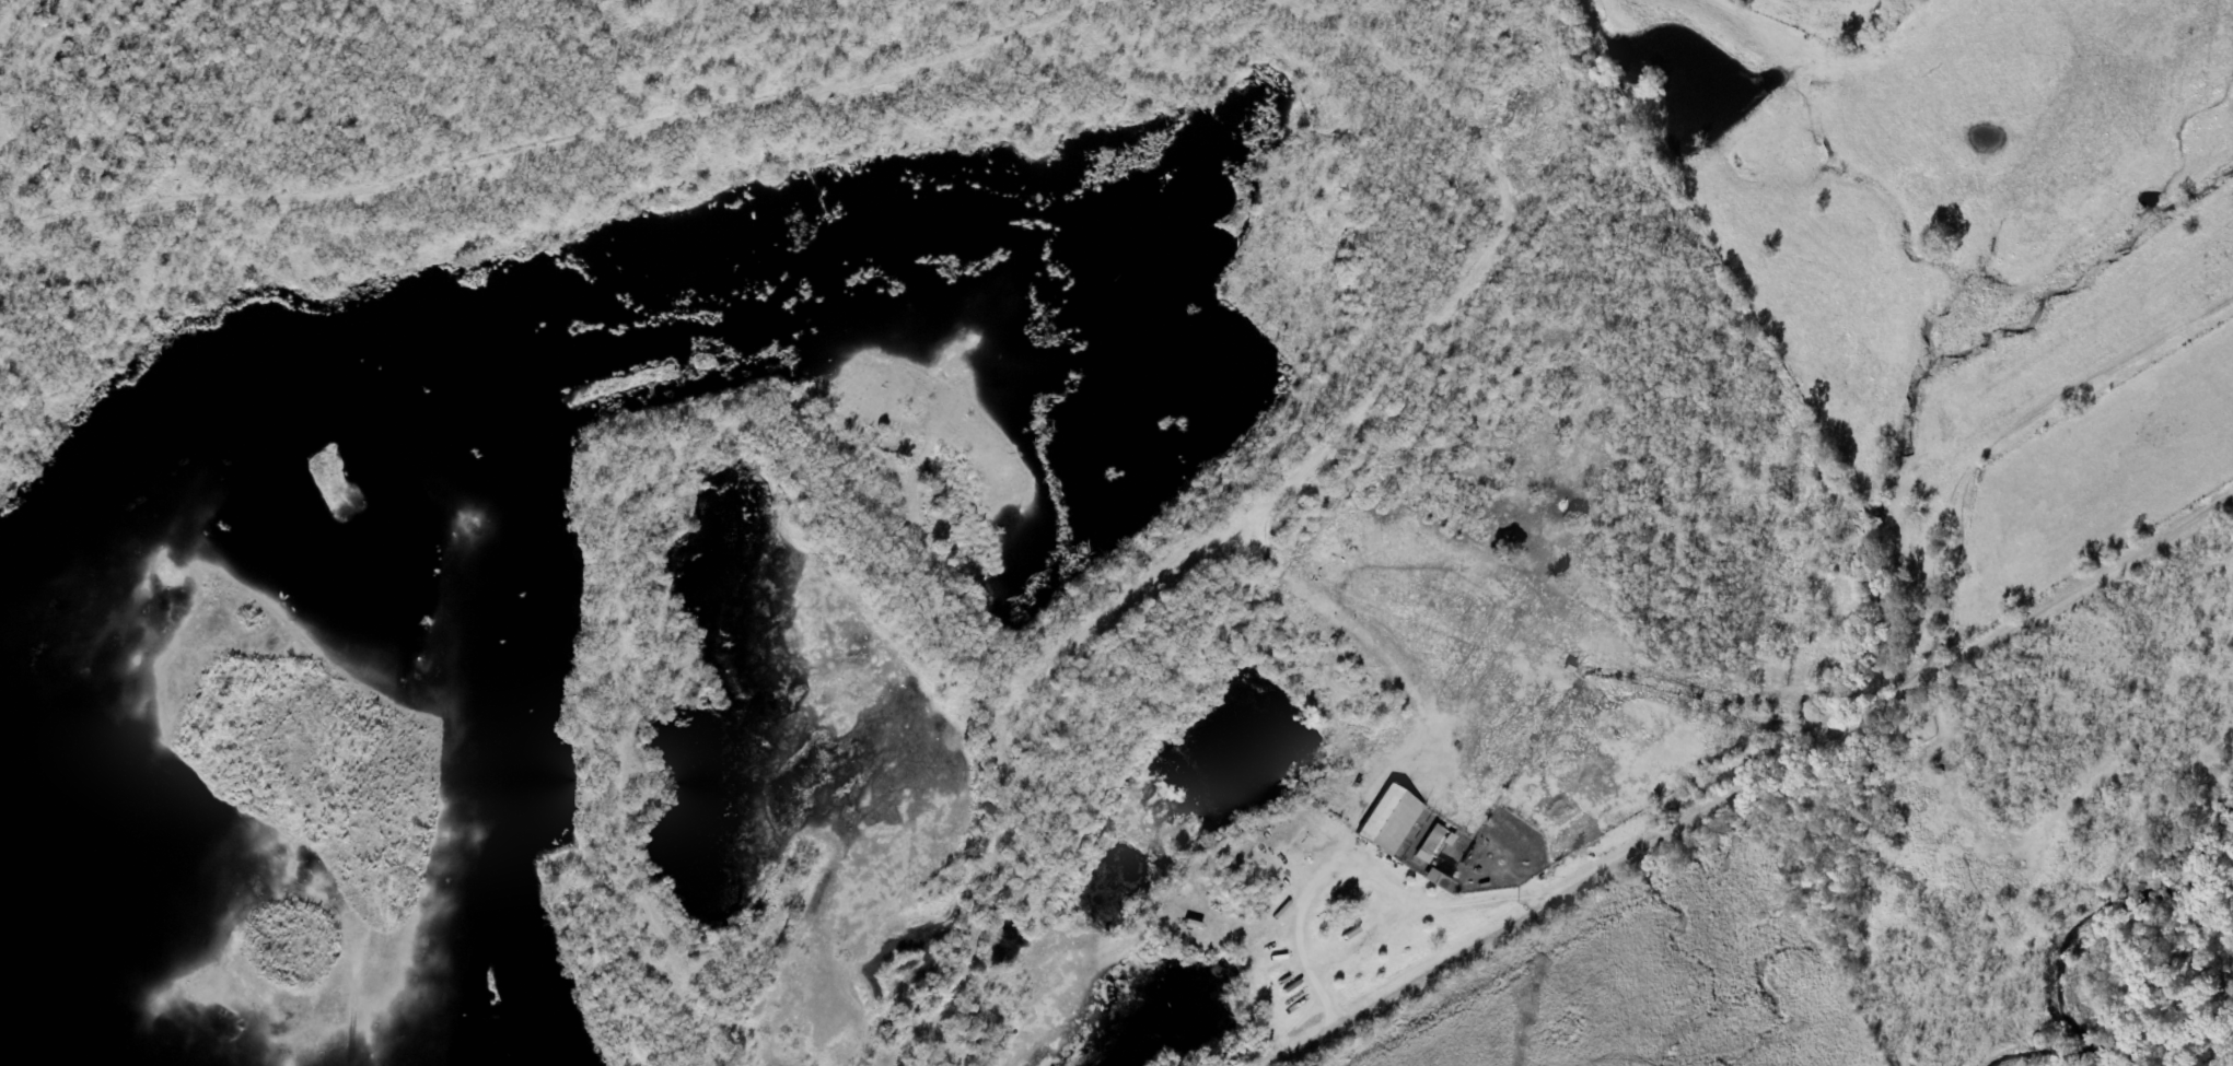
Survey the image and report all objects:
road: (1771, 795)

